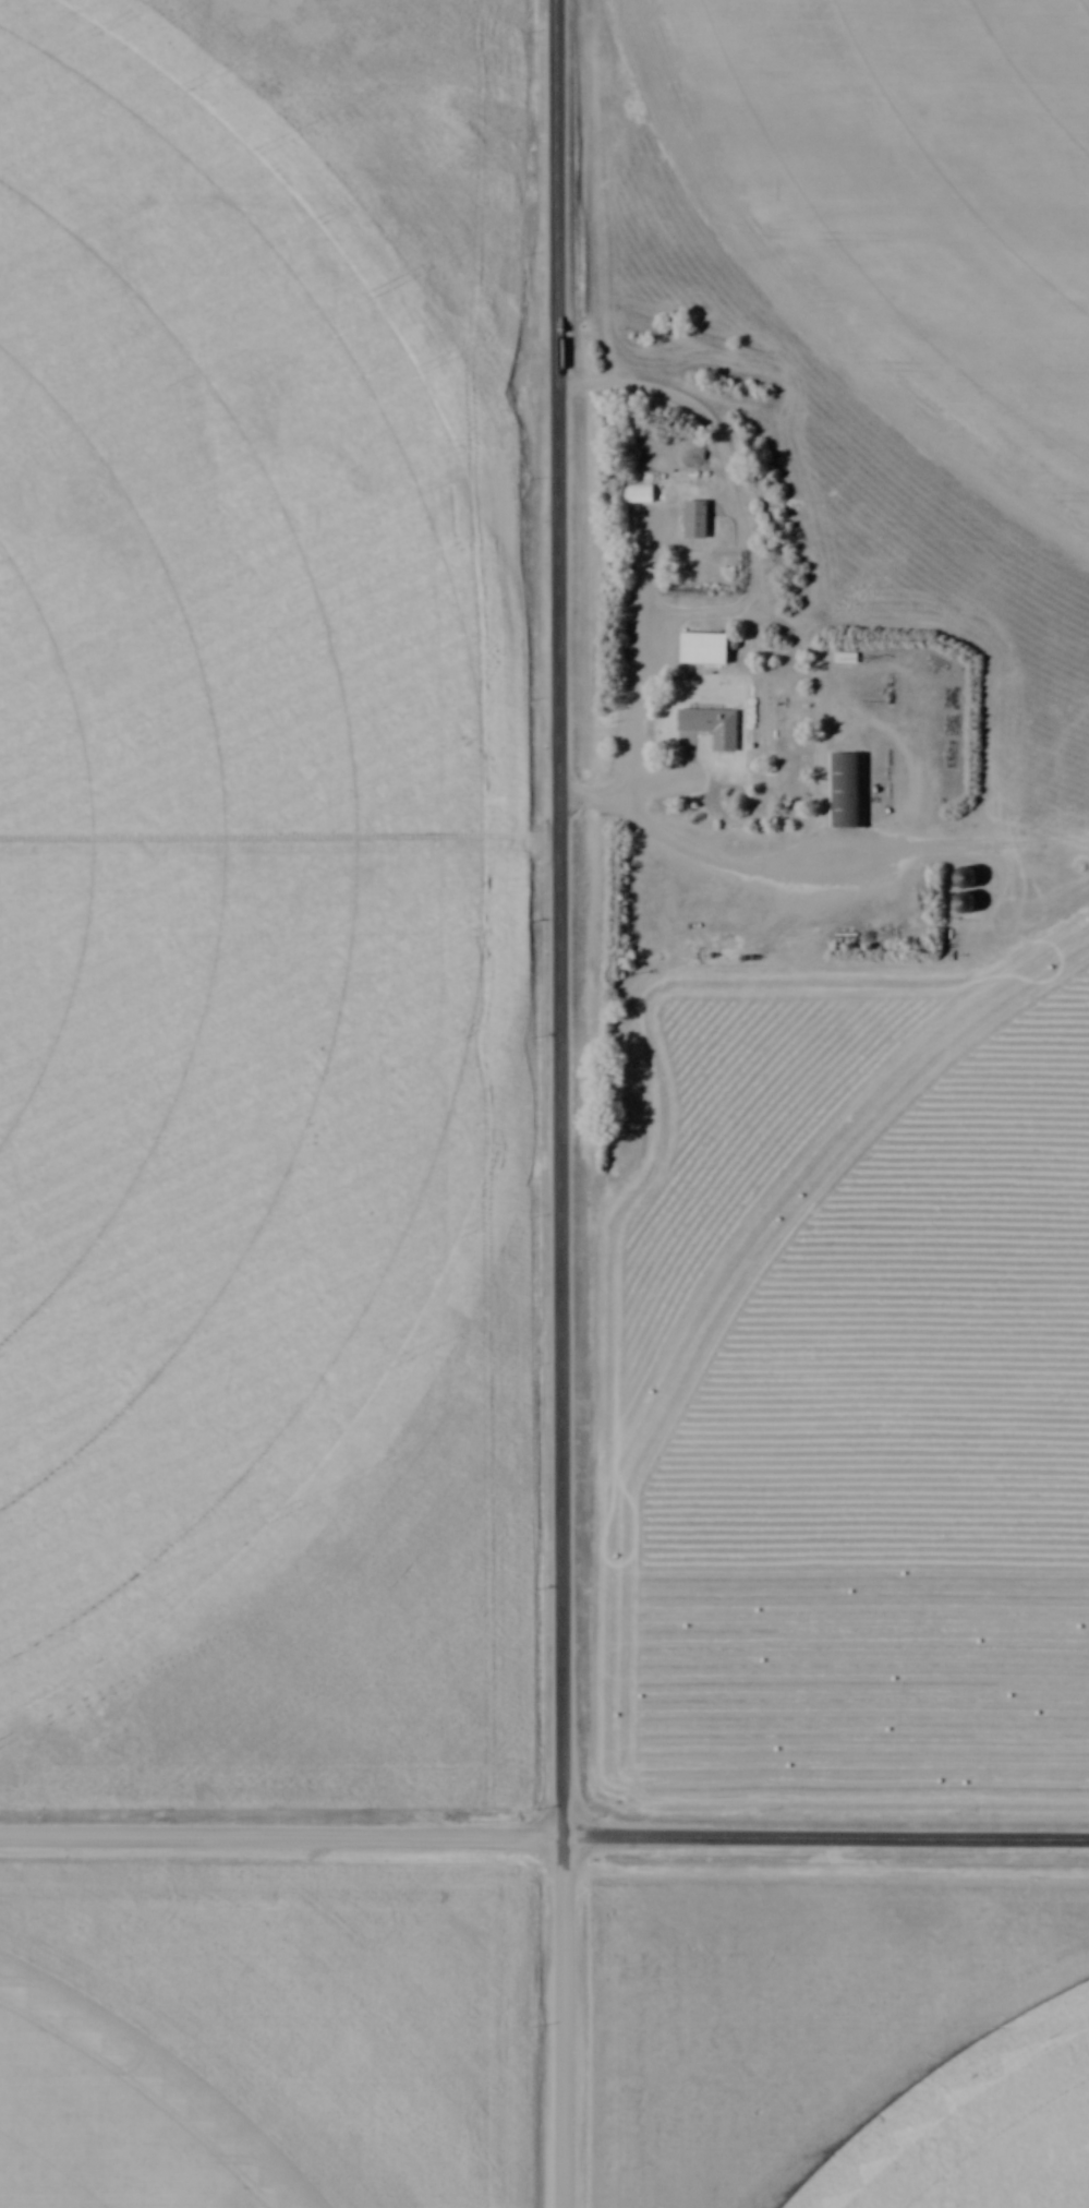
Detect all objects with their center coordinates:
building: (645, 494)
building: (701, 520)
building: (710, 649)
road: (636, 689)
building: (716, 727)
building: (849, 791)
building: (966, 871)
silo: (966, 871)
building: (975, 879)
building: (966, 896)
silo: (966, 896)
building: (975, 903)
road: (564, 917)
road: (283, 1836)
road: (827, 1838)
road: (569, 2021)

